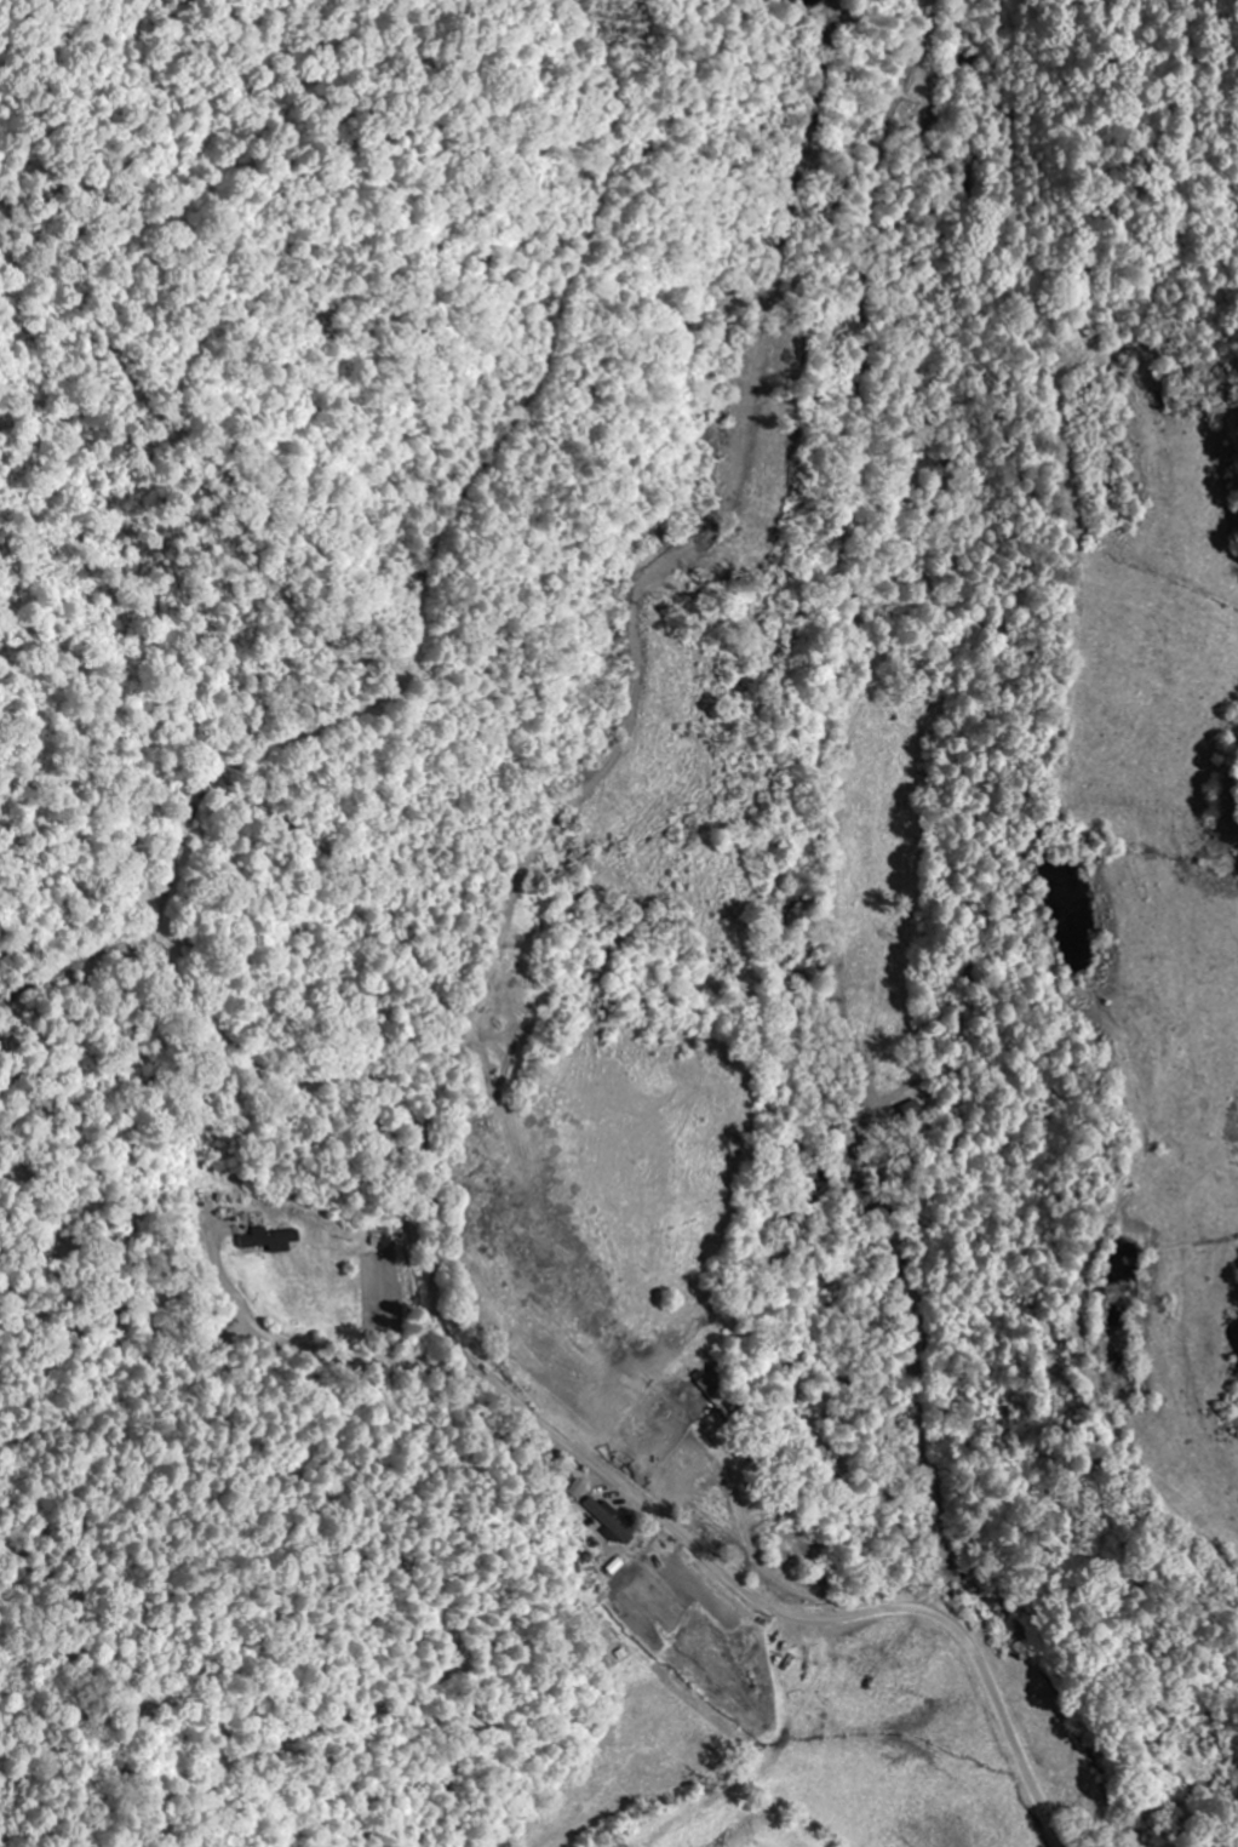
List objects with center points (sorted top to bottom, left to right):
road: (649, 653)
building: (912, 1113)
building: (274, 1241)
building: (718, 1395)
building: (580, 1491)
building: (613, 1523)
road: (790, 1613)

